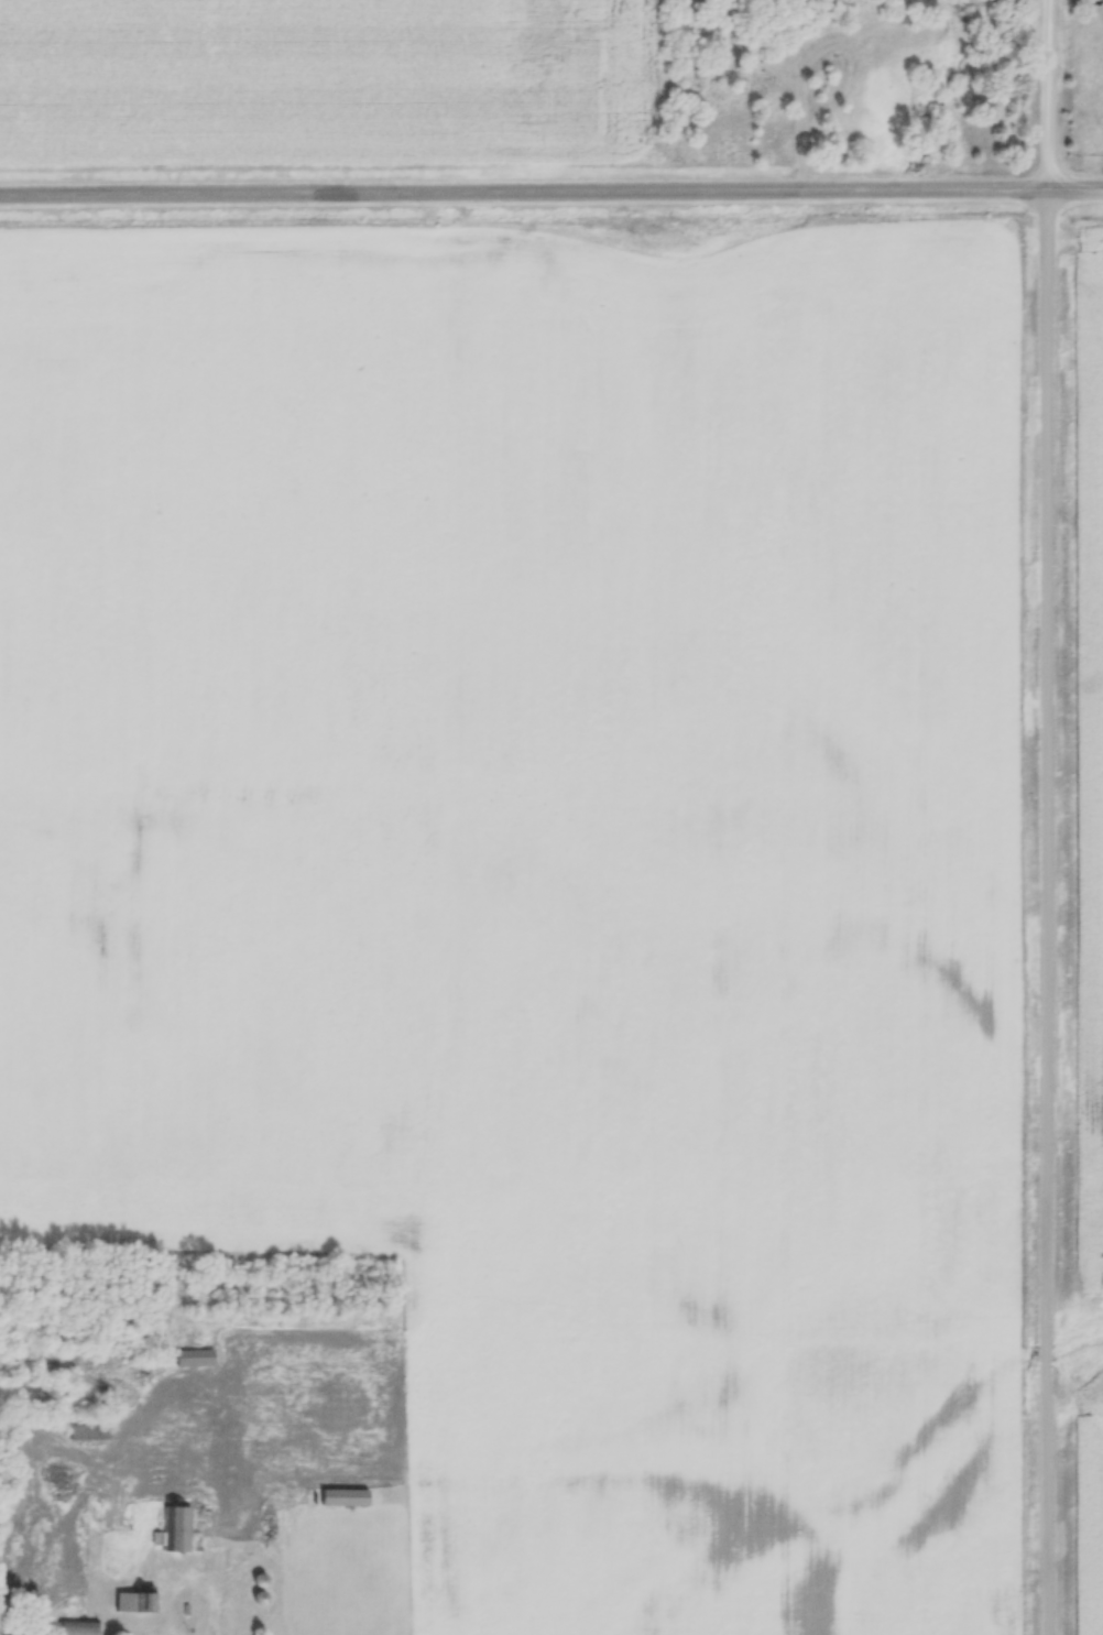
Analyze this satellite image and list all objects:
road: (550, 192)
road: (1046, 817)
building: (198, 1356)
building: (91, 1430)
building: (348, 1496)
building: (177, 1528)
road: (188, 1584)
building: (139, 1600)
building: (79, 1626)

